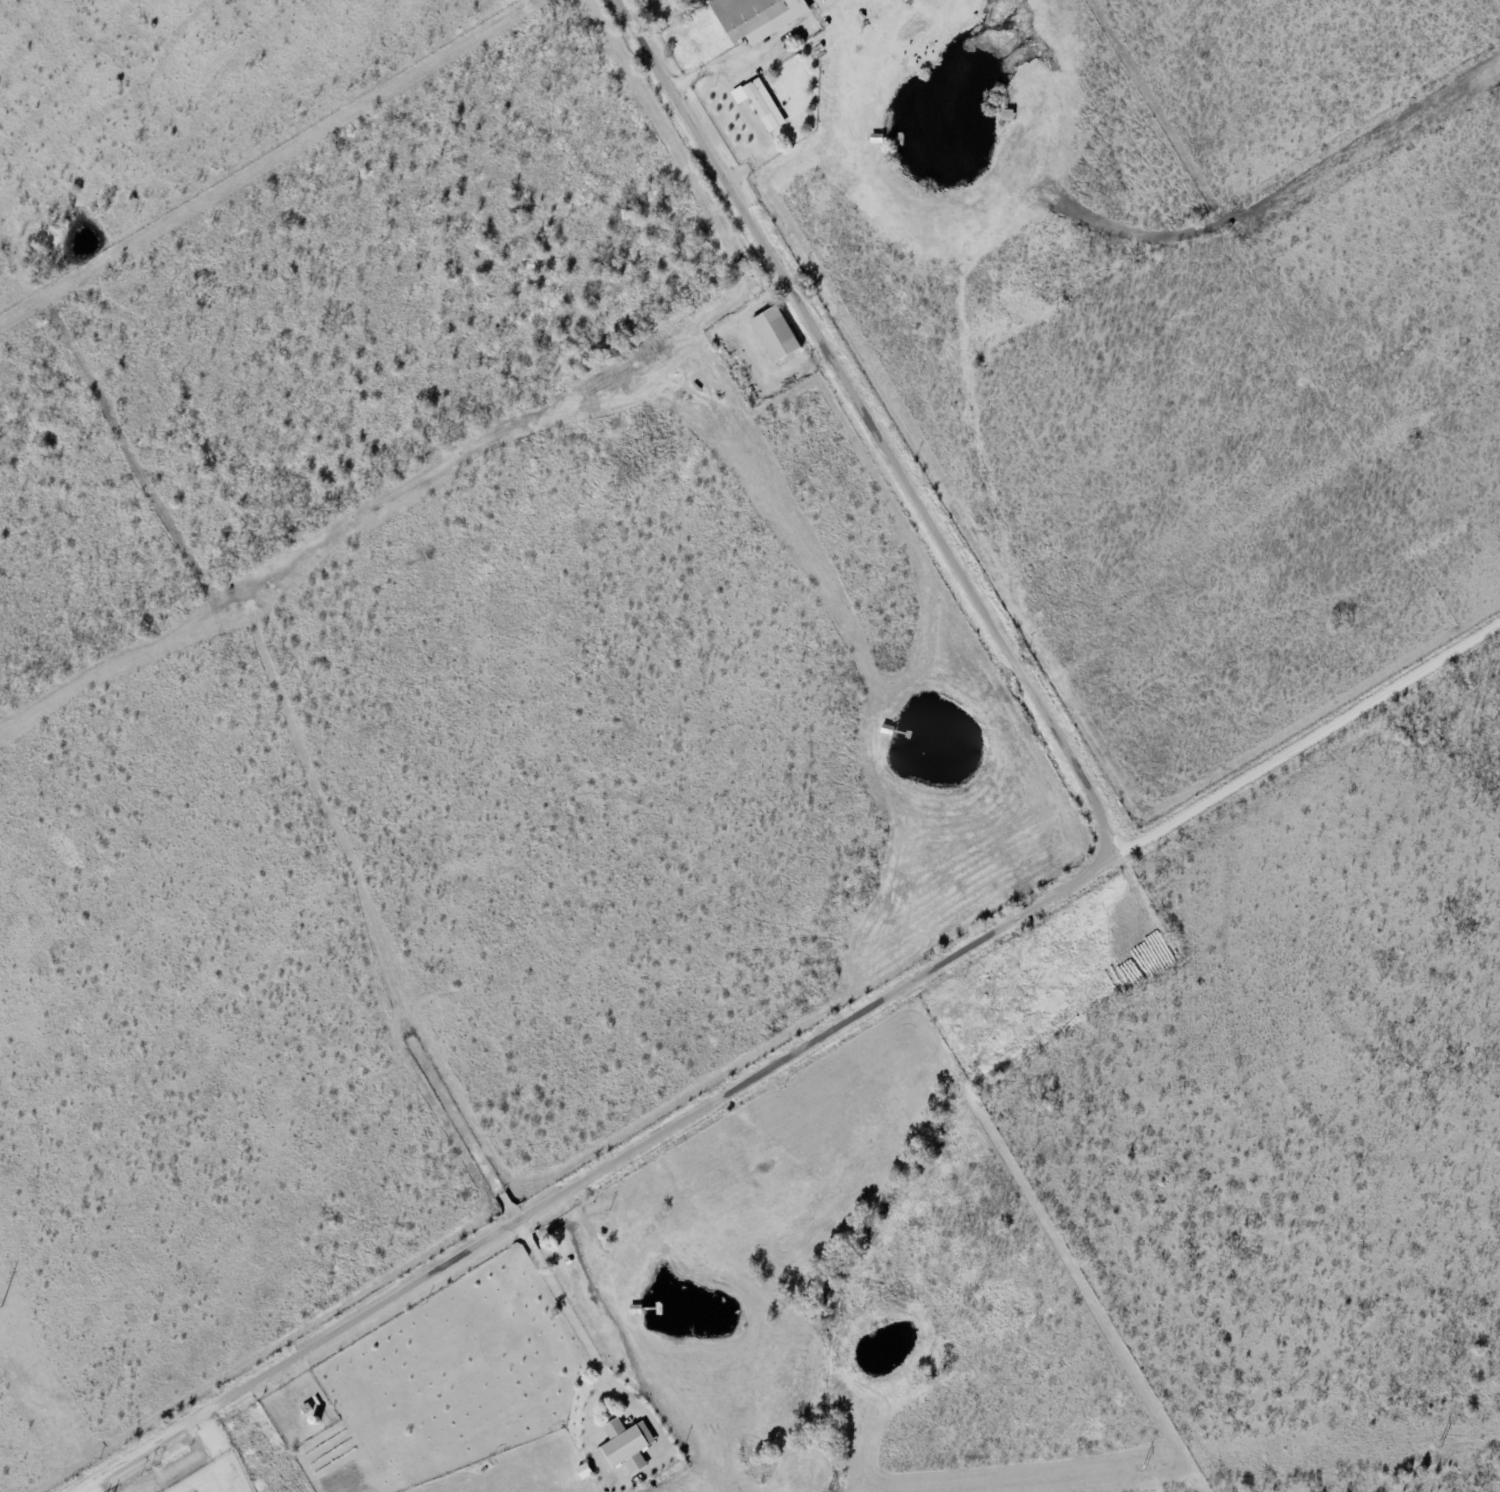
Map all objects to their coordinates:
building: (761, 17)
building: (764, 104)
building: (781, 336)
road: (1295, 753)
road: (1021, 920)
power tower: (2, 1307)
power tower: (1442, 1443)
building: (630, 1447)
power tower: (1145, 1466)
power substation: (216, 1477)

